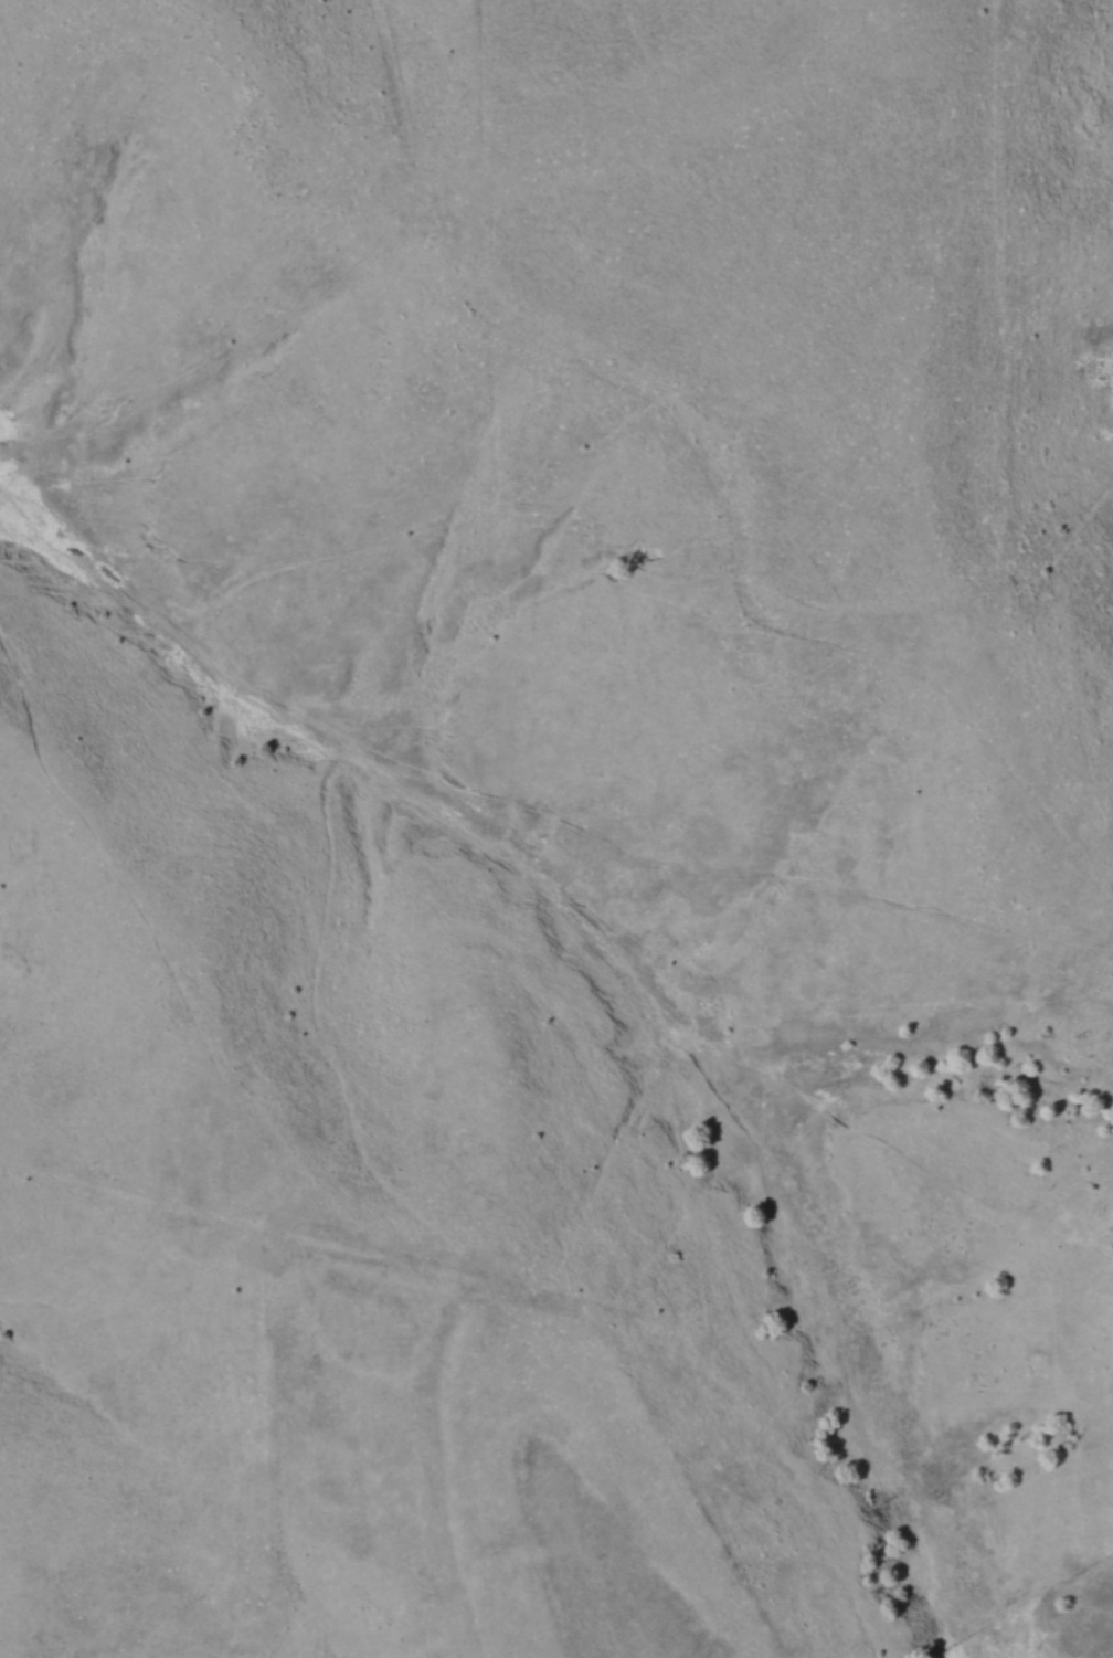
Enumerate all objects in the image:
wastewater plant: (1049, 1619)

